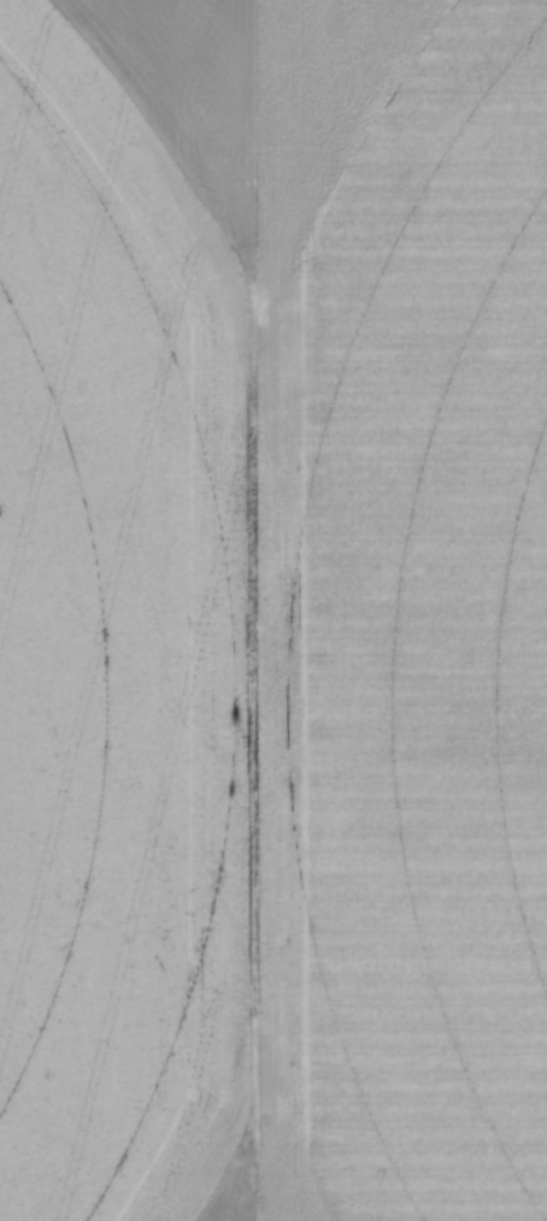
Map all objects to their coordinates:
crop: (273, 610)

